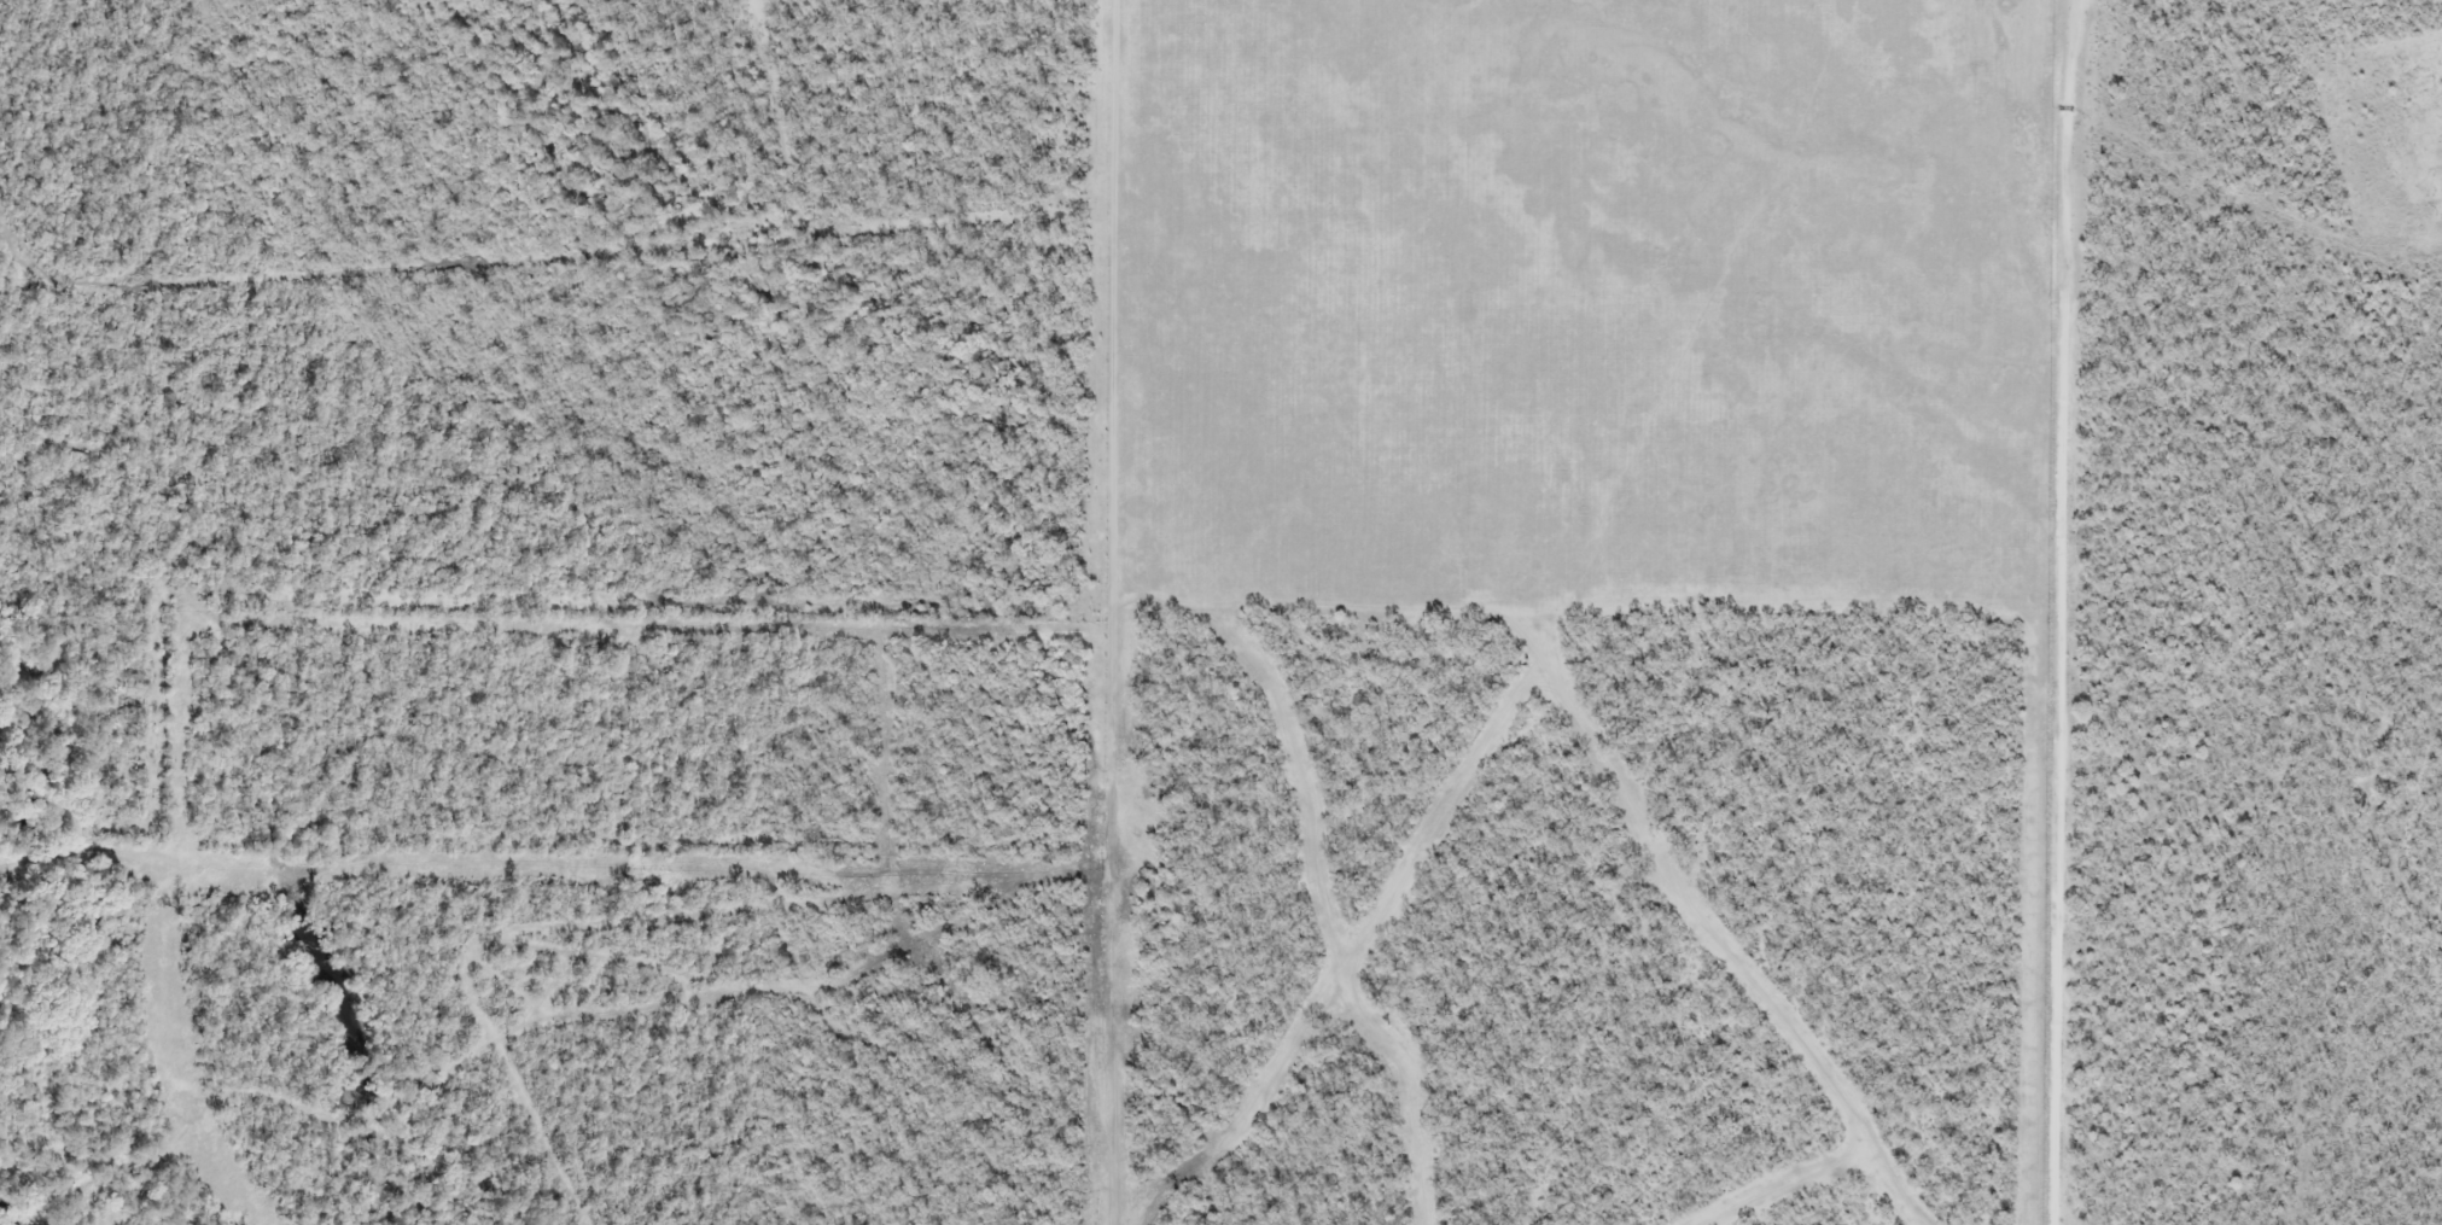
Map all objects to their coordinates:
road: (2055, 612)

